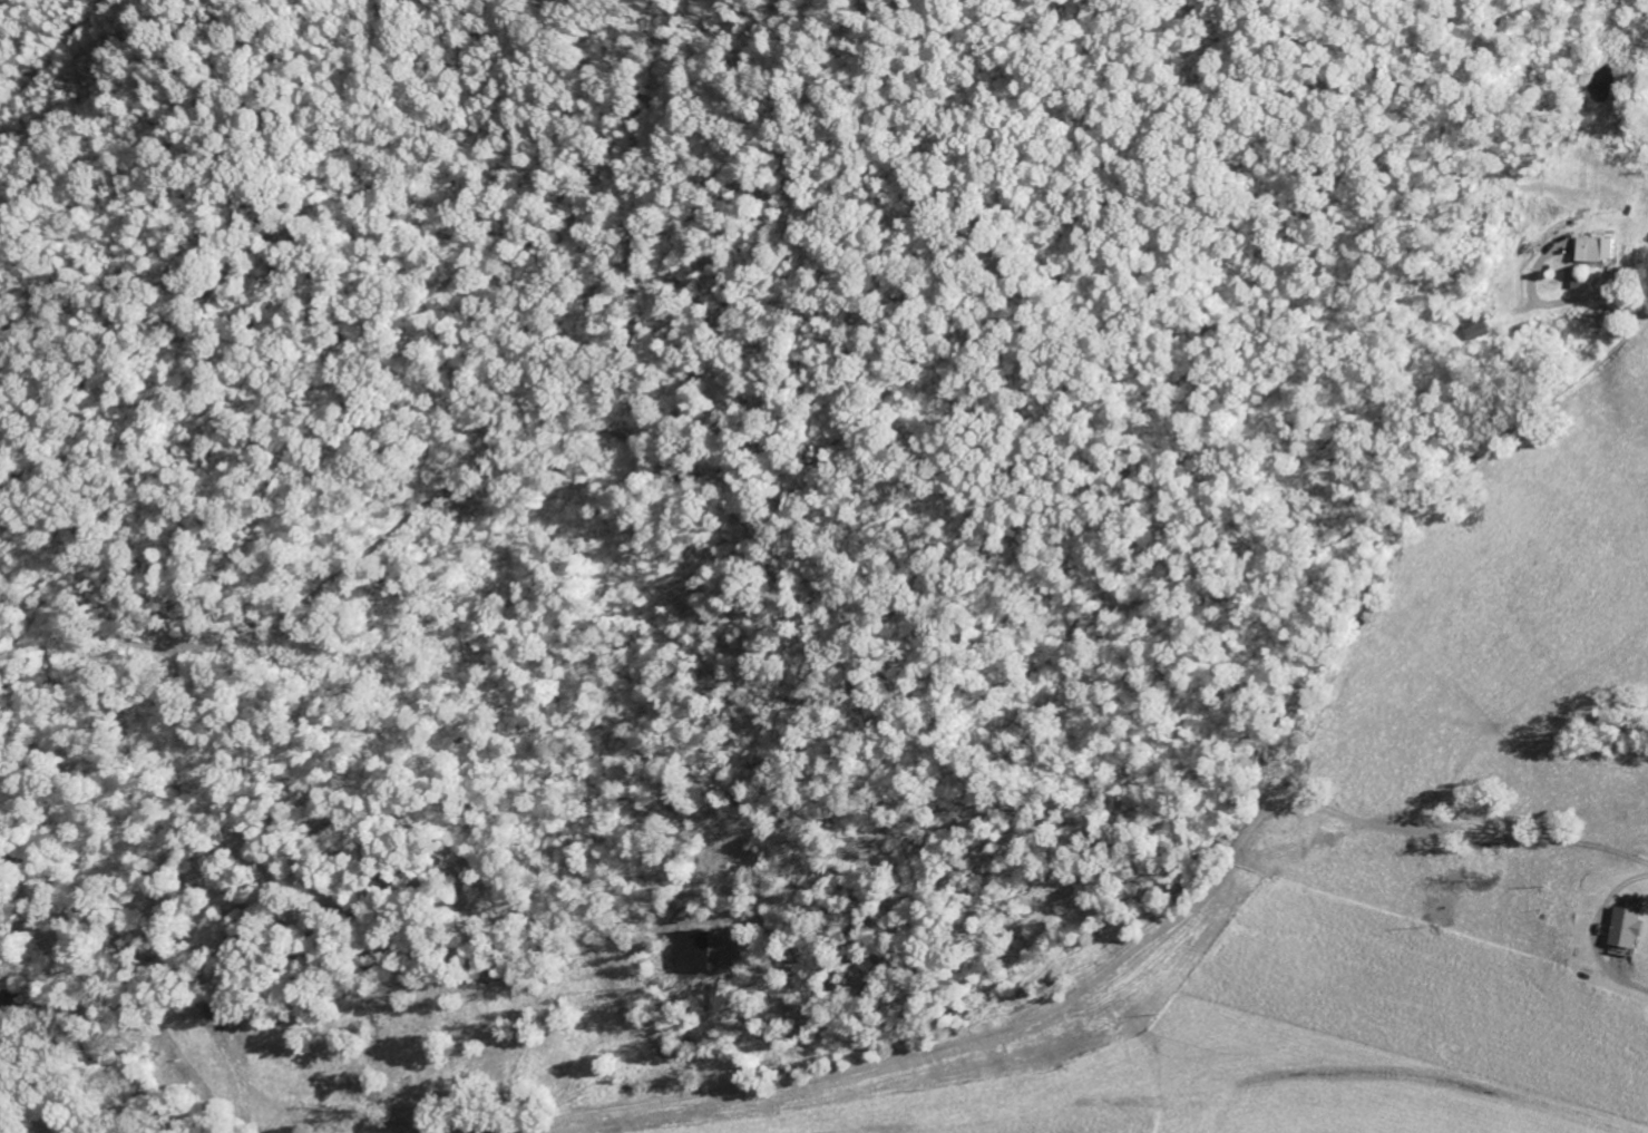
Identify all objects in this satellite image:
building: (1597, 250)
building: (1572, 279)
road: (1589, 299)
building: (1478, 328)
road: (818, 621)
building: (1629, 929)
building: (694, 954)

